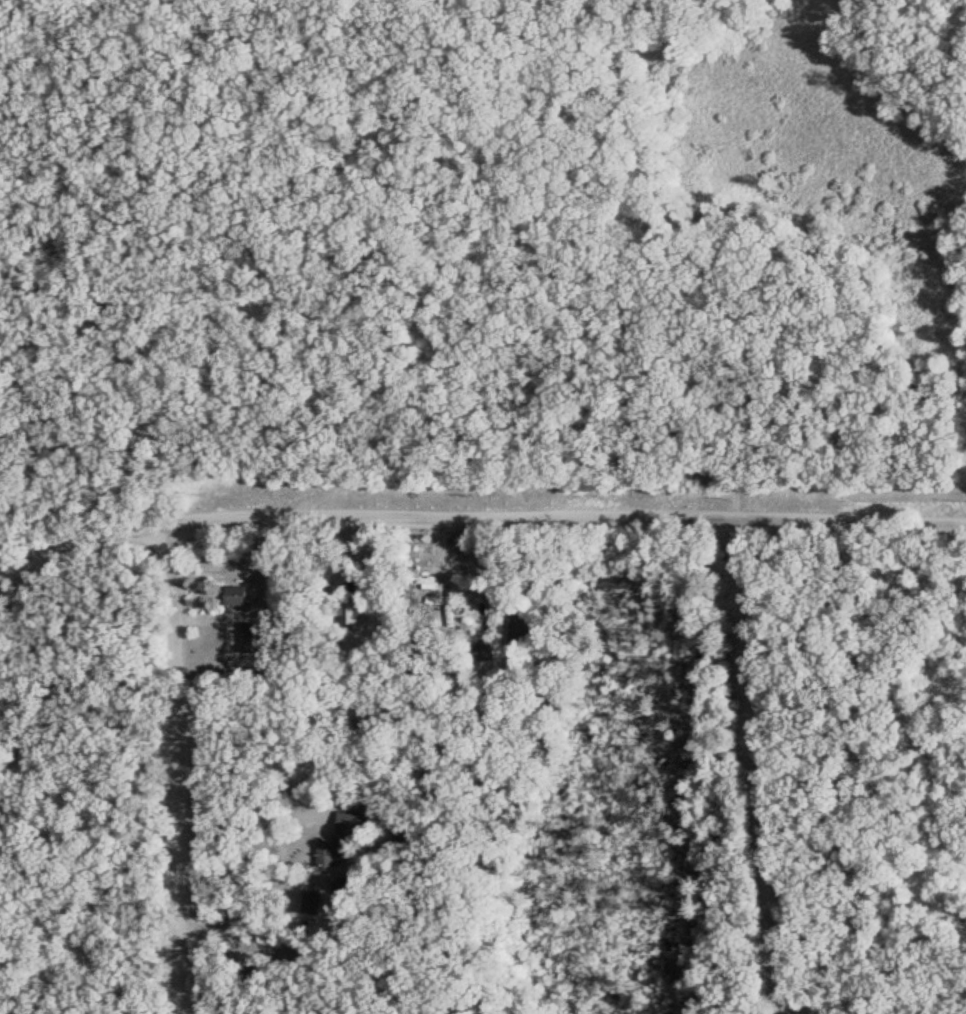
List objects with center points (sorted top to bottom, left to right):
road: (476, 515)
building: (243, 594)
building: (369, 715)
road: (838, 762)
road: (177, 766)
building: (331, 1012)

